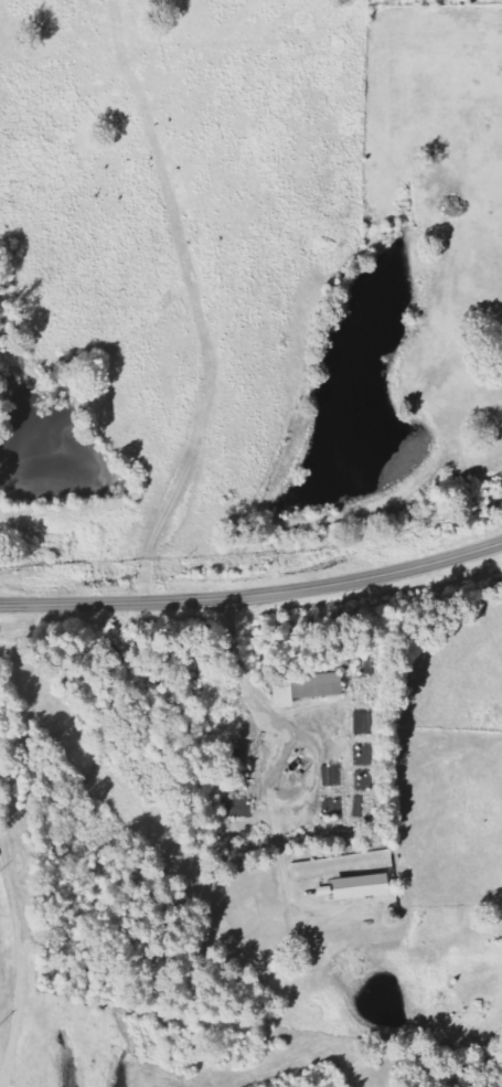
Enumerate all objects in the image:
road: (254, 595)
building: (321, 686)
building: (365, 887)

